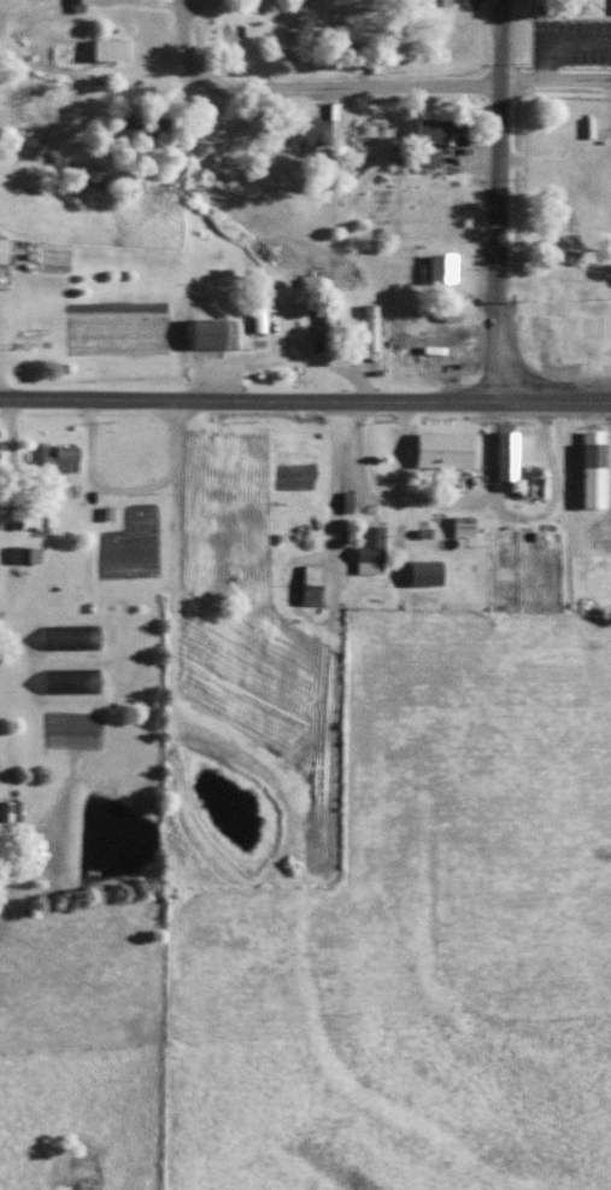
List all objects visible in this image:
building: (435, 2)
building: (76, 5)
building: (106, 49)
building: (353, 56)
road: (553, 80)
road: (306, 87)
building: (143, 122)
building: (431, 130)
building: (306, 132)
road: (495, 200)
building: (2, 250)
building: (439, 268)
building: (258, 309)
building: (328, 310)
building: (369, 326)
building: (208, 333)
road: (305, 399)
building: (439, 449)
building: (503, 455)
building: (55, 457)
building: (589, 468)
road: (328, 479)
building: (524, 479)
building: (460, 525)
building: (366, 550)
building: (24, 554)
building: (419, 573)
building: (307, 584)
building: (67, 637)
building: (69, 681)
building: (8, 810)

